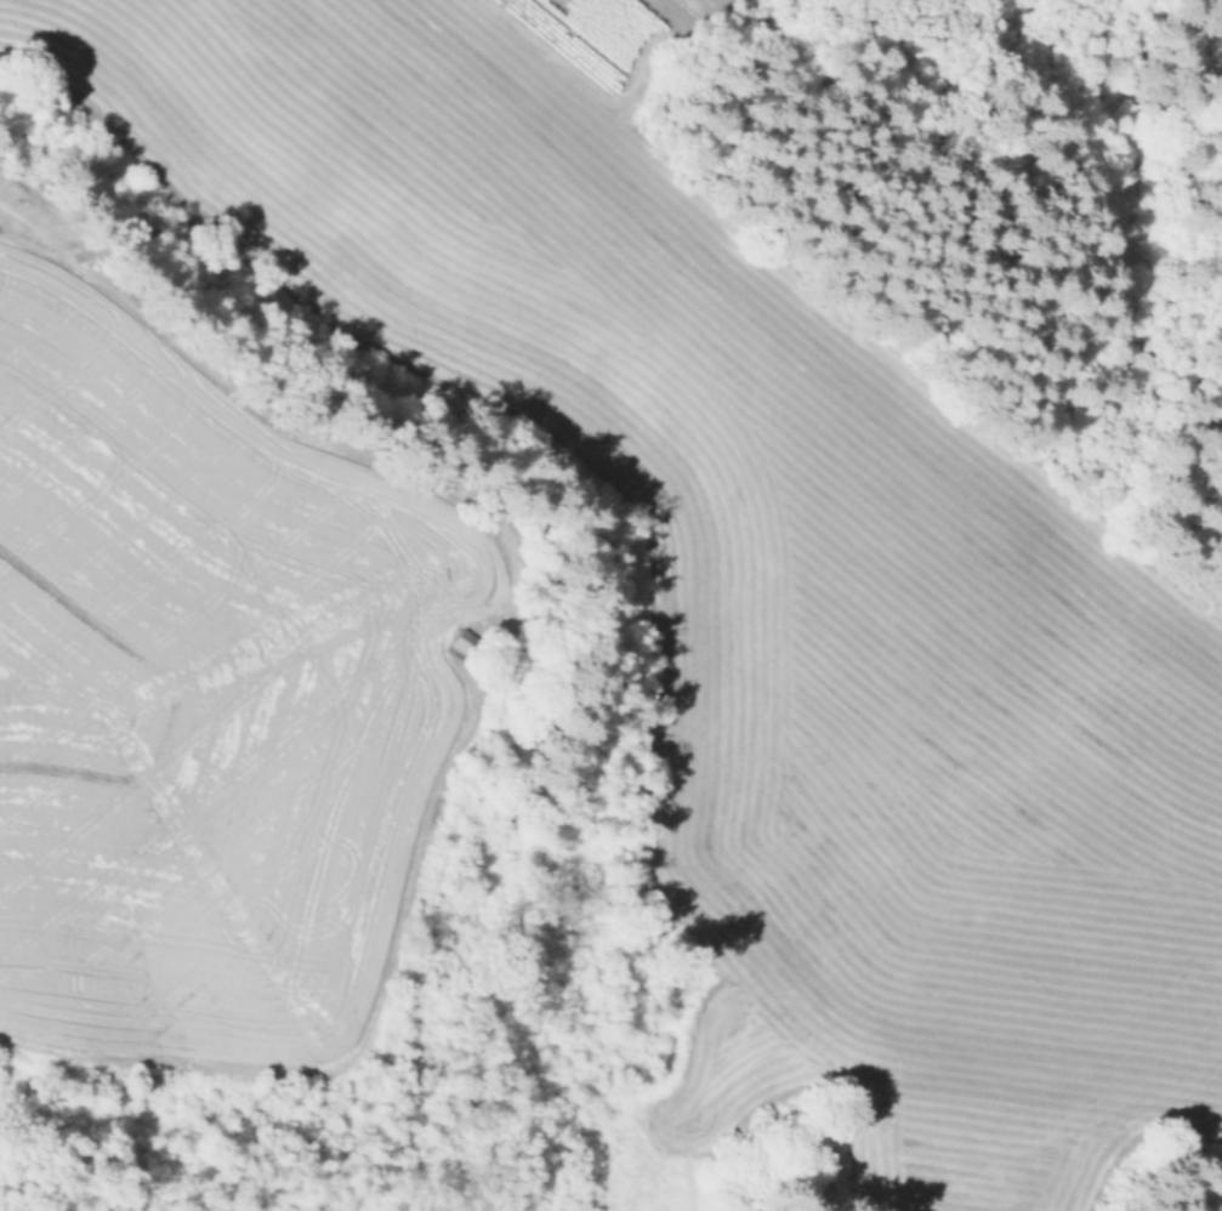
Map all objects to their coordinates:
crop: (635, 85)
crop: (771, 596)
building: (460, 643)
crop: (208, 694)

